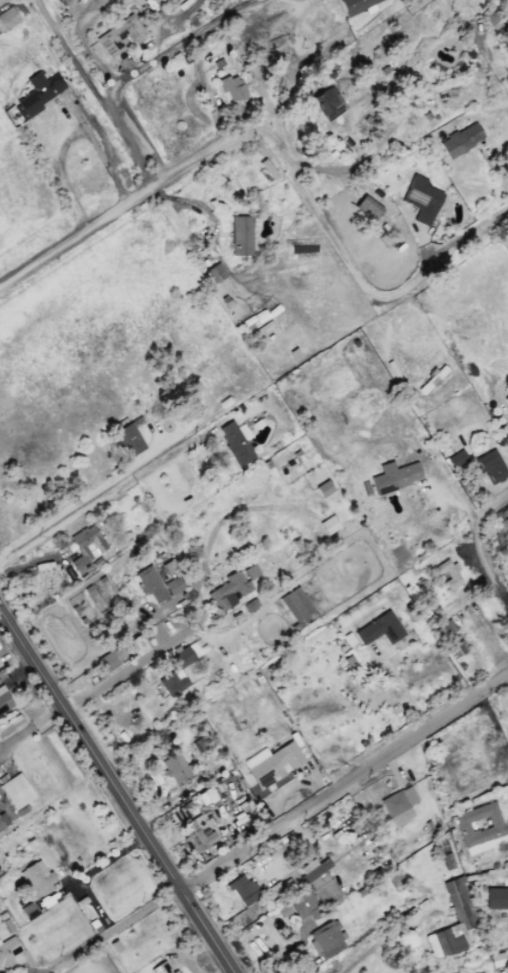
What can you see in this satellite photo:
building: (166, 0)
building: (361, 5)
building: (489, 13)
building: (8, 17)
building: (506, 18)
building: (506, 33)
building: (119, 34)
road: (174, 46)
building: (219, 62)
building: (232, 86)
building: (38, 92)
road: (93, 93)
building: (327, 102)
road: (66, 137)
building: (460, 140)
road: (342, 169)
building: (421, 199)
road: (121, 202)
building: (367, 207)
building: (240, 235)
building: (214, 273)
road: (357, 277)
building: (433, 381)
building: (505, 400)
building: (129, 437)
building: (235, 442)
building: (455, 458)
building: (490, 466)
building: (394, 476)
building: (323, 488)
road: (102, 496)
road: (482, 546)
building: (85, 548)
building: (448, 573)
building: (149, 584)
building: (173, 585)
building: (231, 588)
building: (295, 604)
building: (379, 629)
building: (444, 629)
building: (454, 650)
building: (107, 661)
road: (131, 668)
building: (176, 672)
road: (397, 693)
building: (4, 700)
building: (10, 726)
road: (30, 727)
road: (492, 736)
building: (272, 763)
building: (174, 767)
road: (345, 783)
building: (16, 791)
road: (117, 791)
building: (399, 805)
building: (181, 813)
building: (3, 822)
building: (479, 828)
building: (196, 833)
building: (35, 878)
building: (320, 882)
building: (243, 890)
building: (496, 898)
building: (458, 903)
building: (304, 905)
building: (282, 910)
road: (111, 930)
building: (325, 939)
road: (375, 944)
building: (7, 951)
building: (161, 968)

